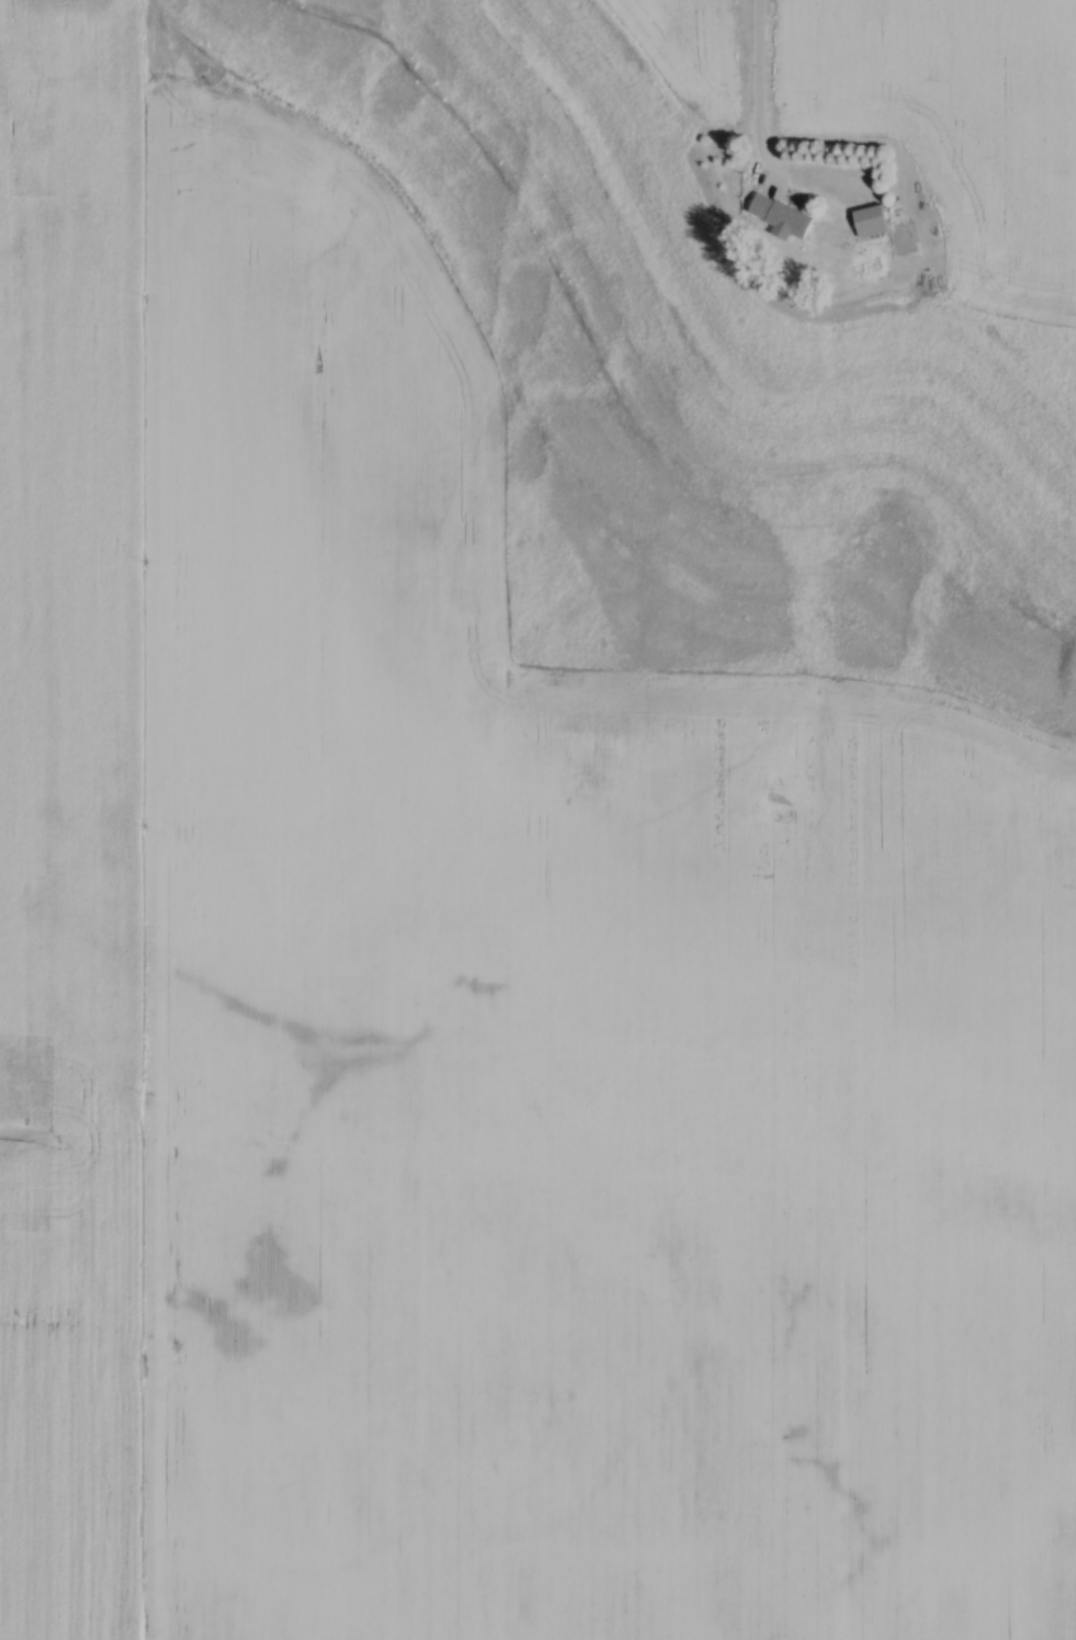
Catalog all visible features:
road: (758, 84)
building: (784, 218)
building: (874, 223)

